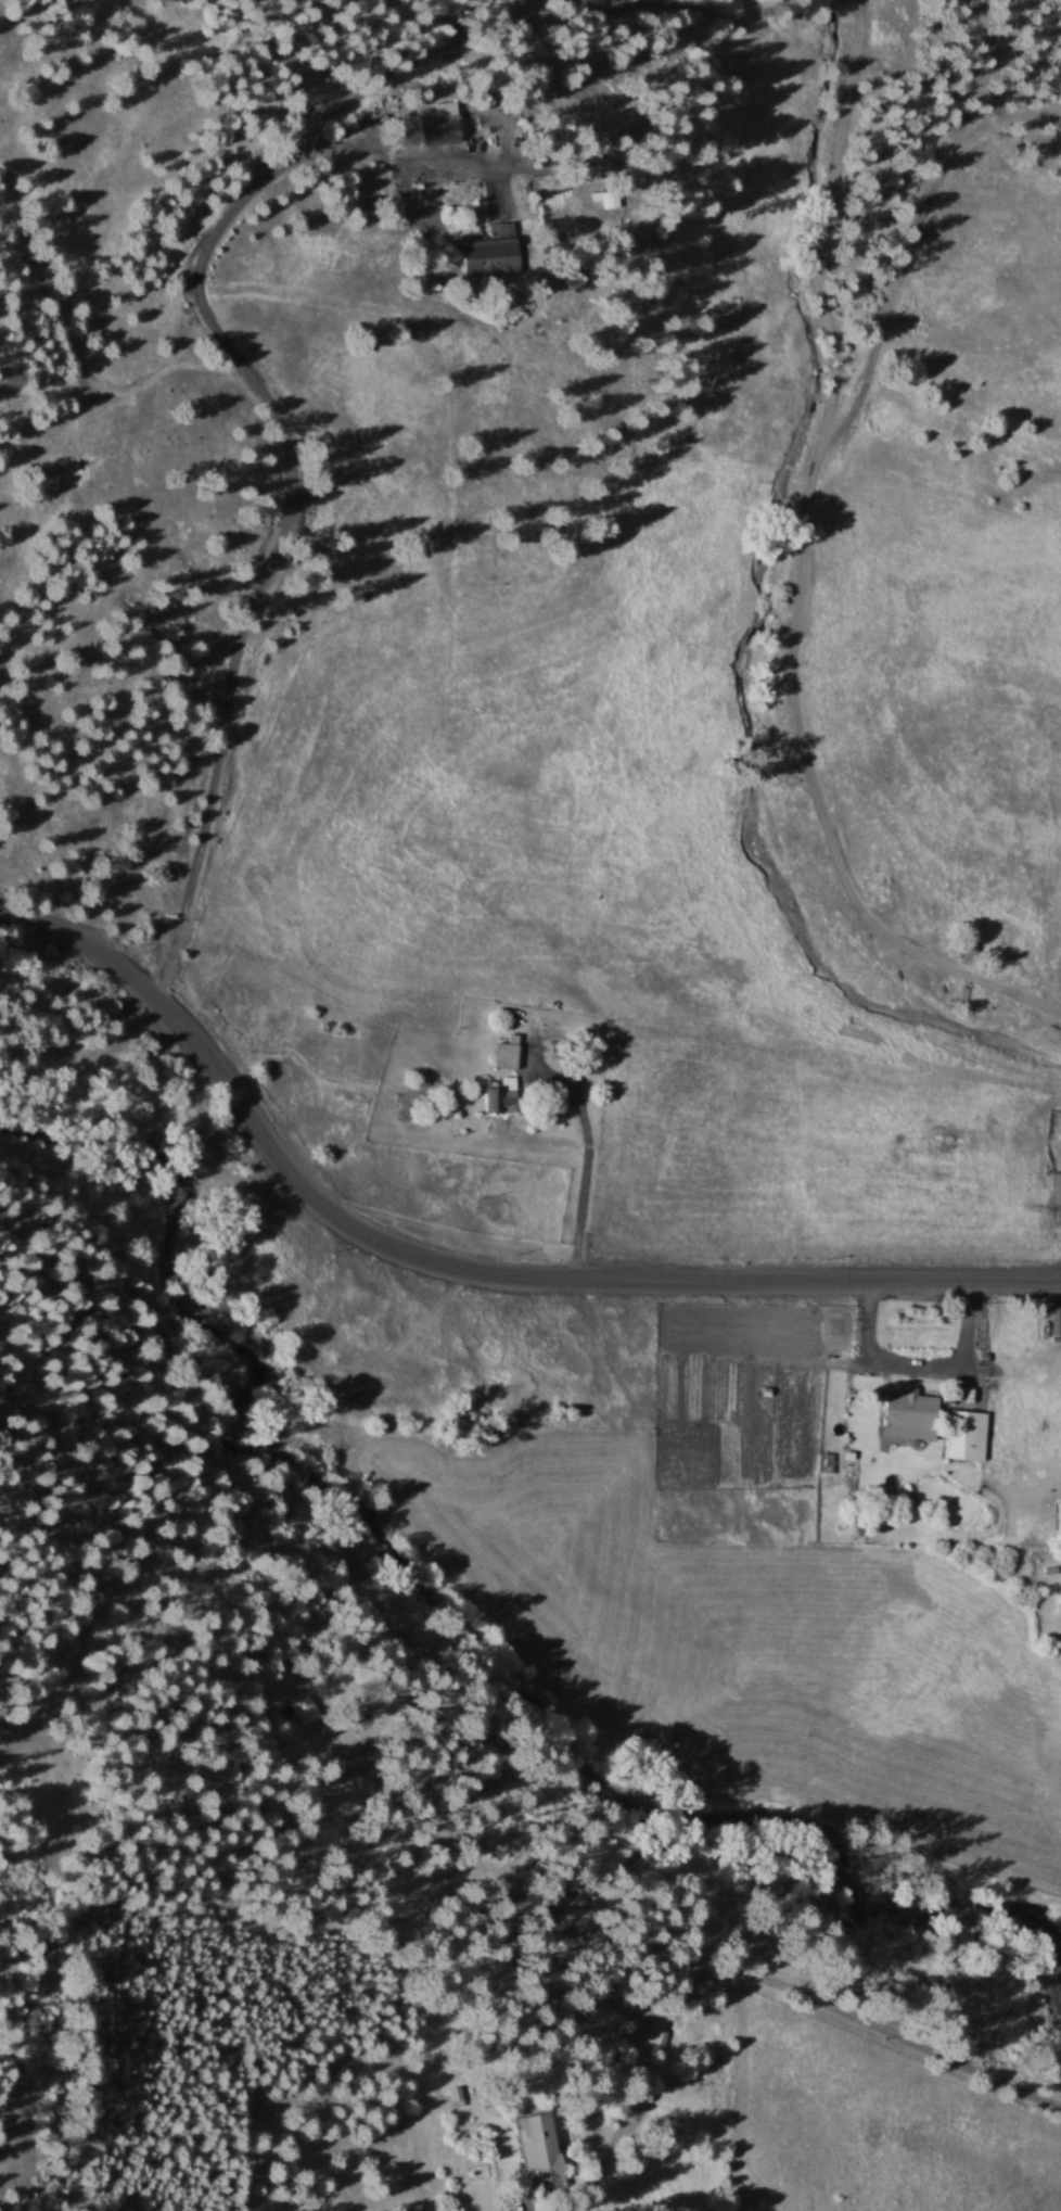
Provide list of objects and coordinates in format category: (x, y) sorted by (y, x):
building: (423, 51)
building: (436, 124)
building: (608, 194)
building: (484, 255)
road: (790, 881)
building: (877, 886)
building: (967, 952)
building: (504, 1054)
building: (497, 1095)
road: (612, 1119)
building: (1054, 1187)
road: (462, 1260)
building: (1056, 1318)
building: (907, 1409)
building: (964, 1433)
building: (1057, 1519)
building: (1059, 1593)
building: (278, 1725)
building: (553, 1901)
road: (848, 2009)
building: (656, 2040)
building: (537, 2146)

